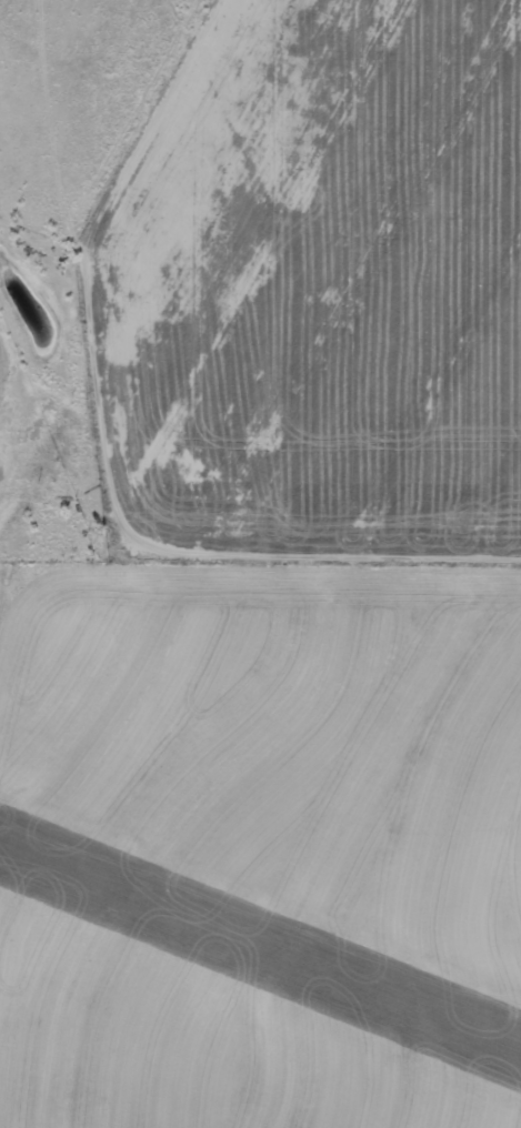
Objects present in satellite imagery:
road: (332, 598)

